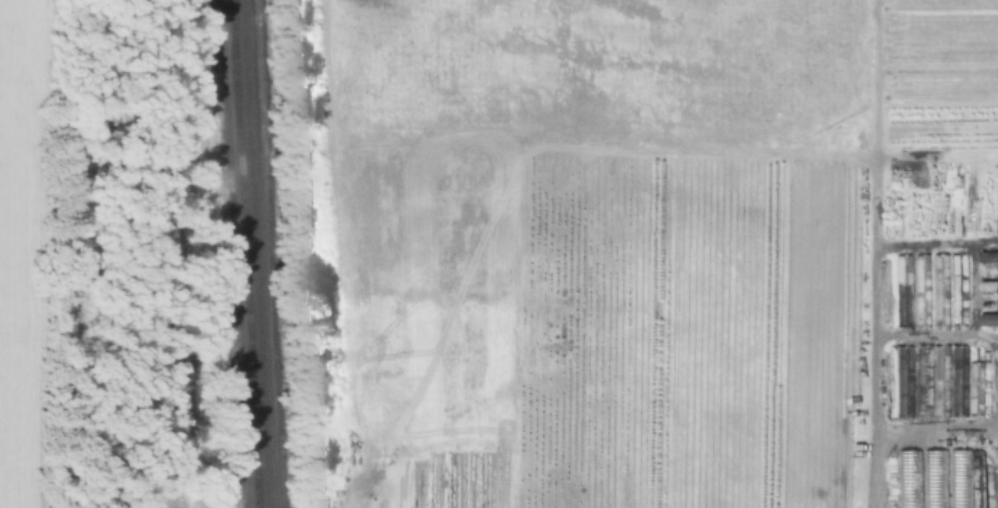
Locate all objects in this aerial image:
crop: (657, 252)
railway: (240, 254)
railway: (252, 254)
building: (989, 257)
crop: (20, 260)
building: (989, 286)
building: (903, 290)
building: (921, 290)
building: (940, 290)
building: (958, 290)
building: (988, 321)
building: (923, 381)
building: (950, 381)
building: (904, 382)
road: (869, 405)
building: (996, 454)
building: (908, 479)
building: (934, 479)
building: (960, 479)

